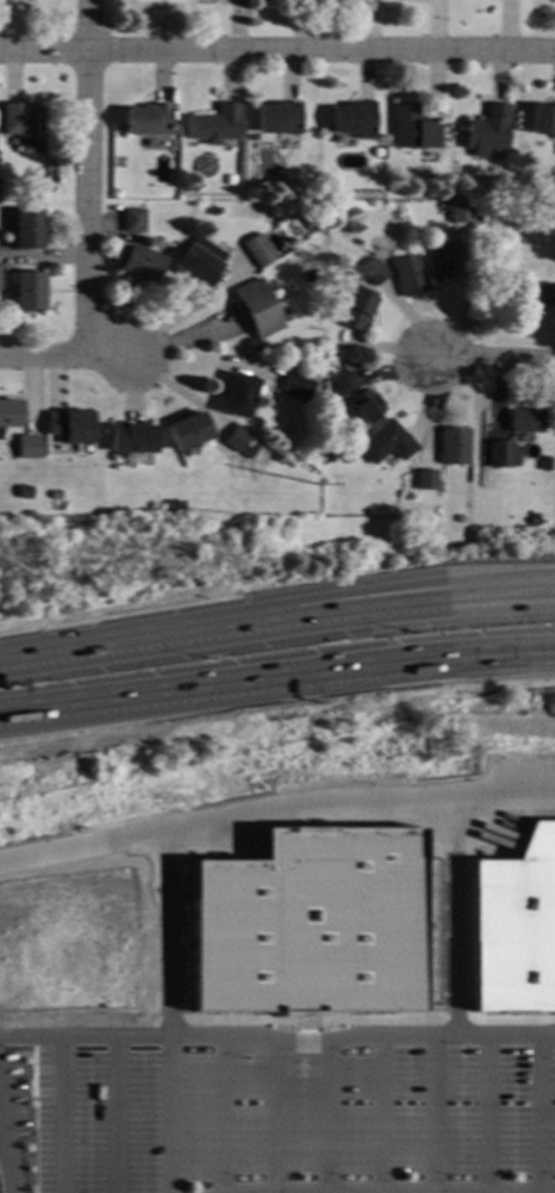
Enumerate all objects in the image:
building: (202, 1)
road: (277, 50)
building: (276, 119)
building: (146, 120)
building: (354, 120)
building: (542, 120)
building: (213, 126)
building: (24, 128)
building: (412, 129)
building: (486, 132)
building: (311, 166)
road: (86, 178)
building: (229, 181)
building: (31, 195)
building: (460, 213)
building: (553, 218)
building: (133, 222)
building: (26, 230)
building: (257, 251)
building: (363, 261)
building: (445, 261)
building: (141, 263)
building: (195, 267)
building: (374, 273)
building: (409, 276)
building: (27, 292)
building: (541, 296)
building: (257, 309)
building: (356, 311)
building: (318, 342)
road: (66, 356)
road: (493, 358)
building: (293, 364)
building: (343, 384)
building: (297, 387)
building: (237, 396)
building: (367, 406)
building: (10, 415)
building: (525, 422)
building: (69, 427)
building: (188, 433)
building: (131, 439)
building: (236, 440)
building: (386, 446)
building: (454, 447)
building: (27, 448)
building: (503, 454)
building: (344, 458)
building: (545, 465)
building: (426, 480)
building: (24, 492)
building: (54, 496)
power tower: (230, 499)
building: (175, 505)
building: (461, 521)
power tower: (231, 529)
road: (354, 591)
road: (355, 611)
road: (79, 646)
road: (519, 650)
road: (519, 653)
road: (241, 684)
road: (275, 807)
road: (455, 914)
building: (308, 924)
building: (513, 926)
road: (167, 1009)
road: (361, 1018)
road: (277, 1040)
road: (46, 1048)
road: (247, 1051)
road: (300, 1056)
road: (547, 1058)
road: (32, 1064)
road: (300, 1067)
road: (46, 1069)
road: (46, 1093)
parking lot: (276, 1110)
road: (60, 1113)
road: (379, 1113)
road: (432, 1113)
road: (486, 1113)
road: (538, 1113)
road: (114, 1114)
road: (220, 1114)
road: (273, 1116)
road: (326, 1117)
road: (0, 1143)
road: (4, 1163)
road: (401, 1191)
road: (242, 1192)
road: (538, 1192)

